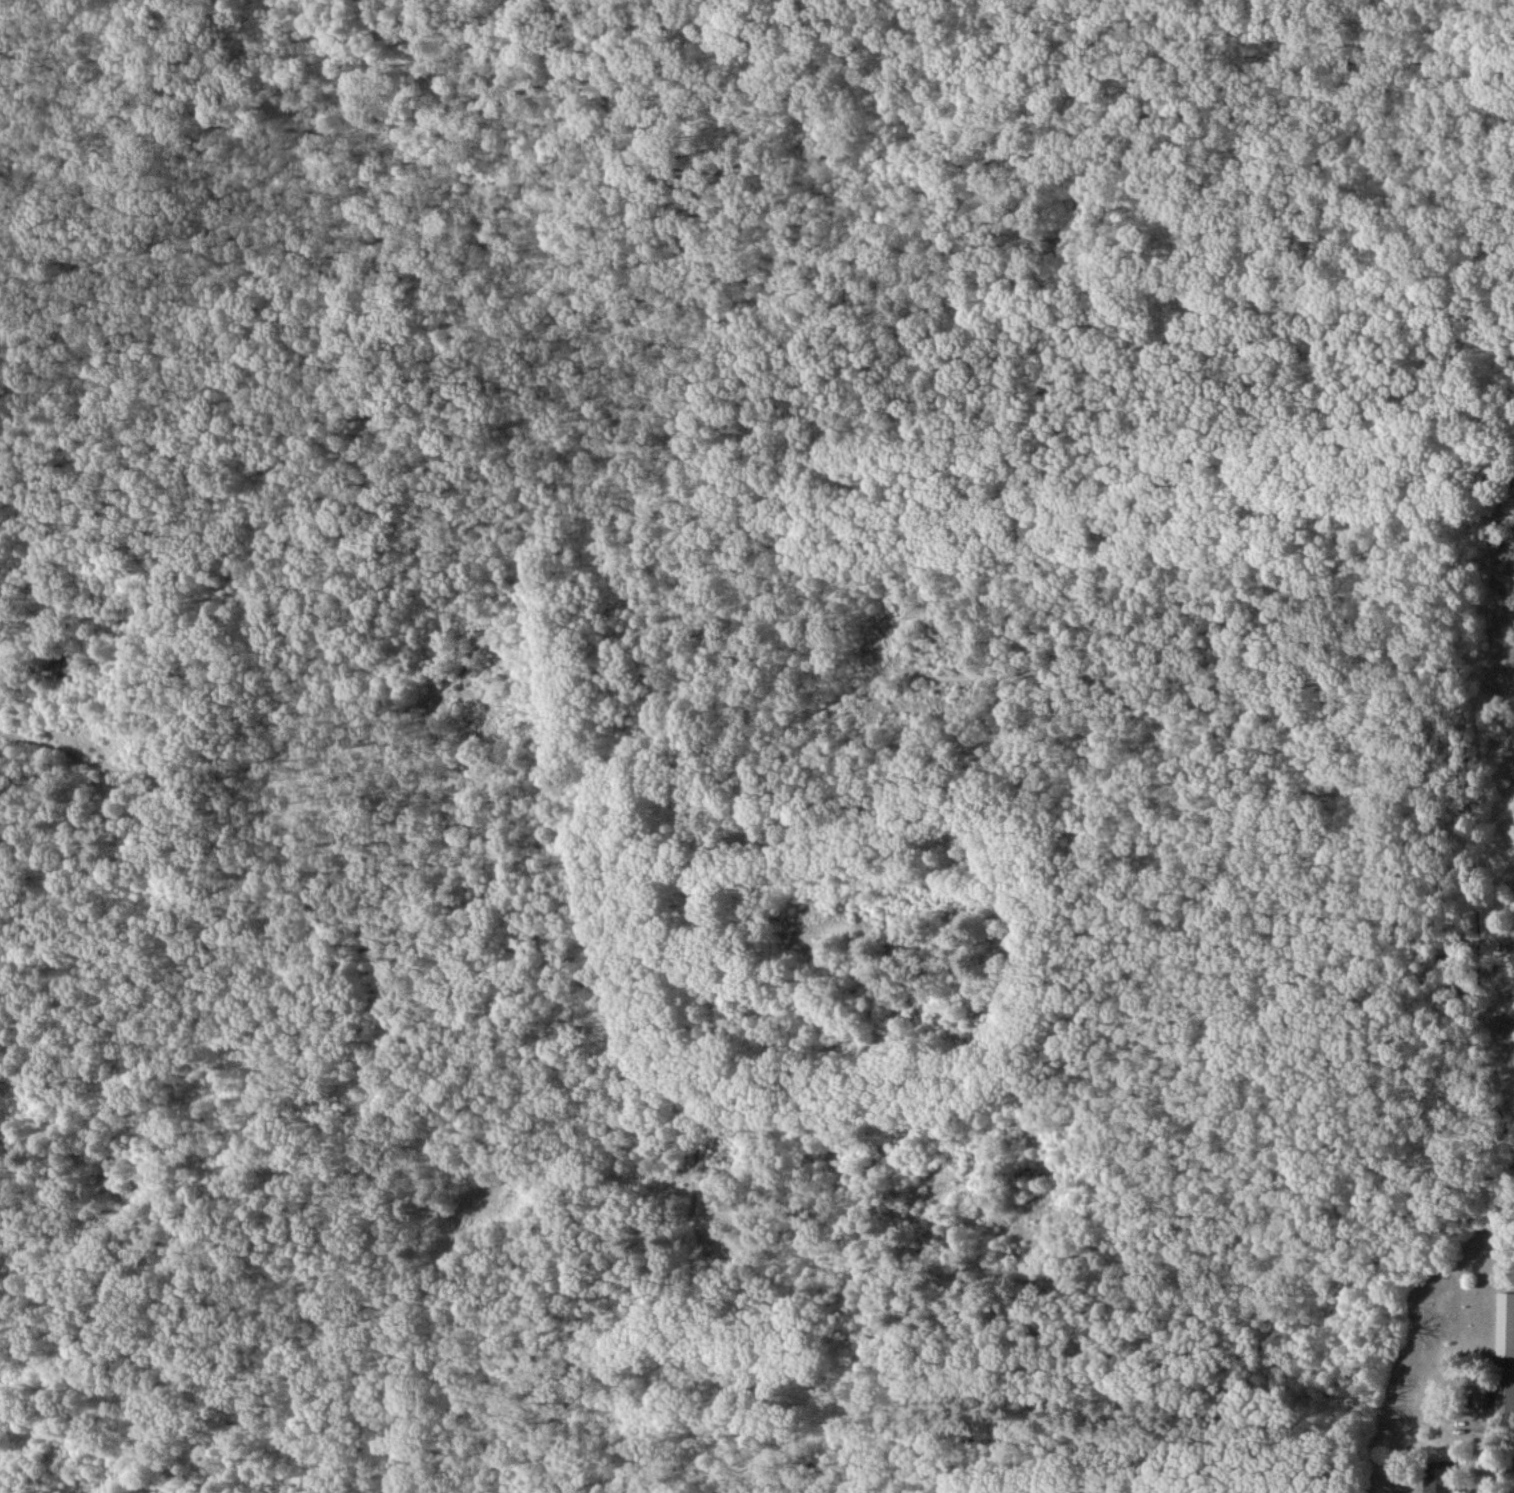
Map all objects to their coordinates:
road: (1106, 129)
road: (353, 137)
road: (754, 360)
road: (1210, 623)
road: (977, 677)
road: (438, 716)
road: (271, 750)
road: (67, 753)
road: (1323, 885)
road: (614, 1052)
road: (1321, 1265)
building: (1507, 1349)
road: (1498, 1422)

